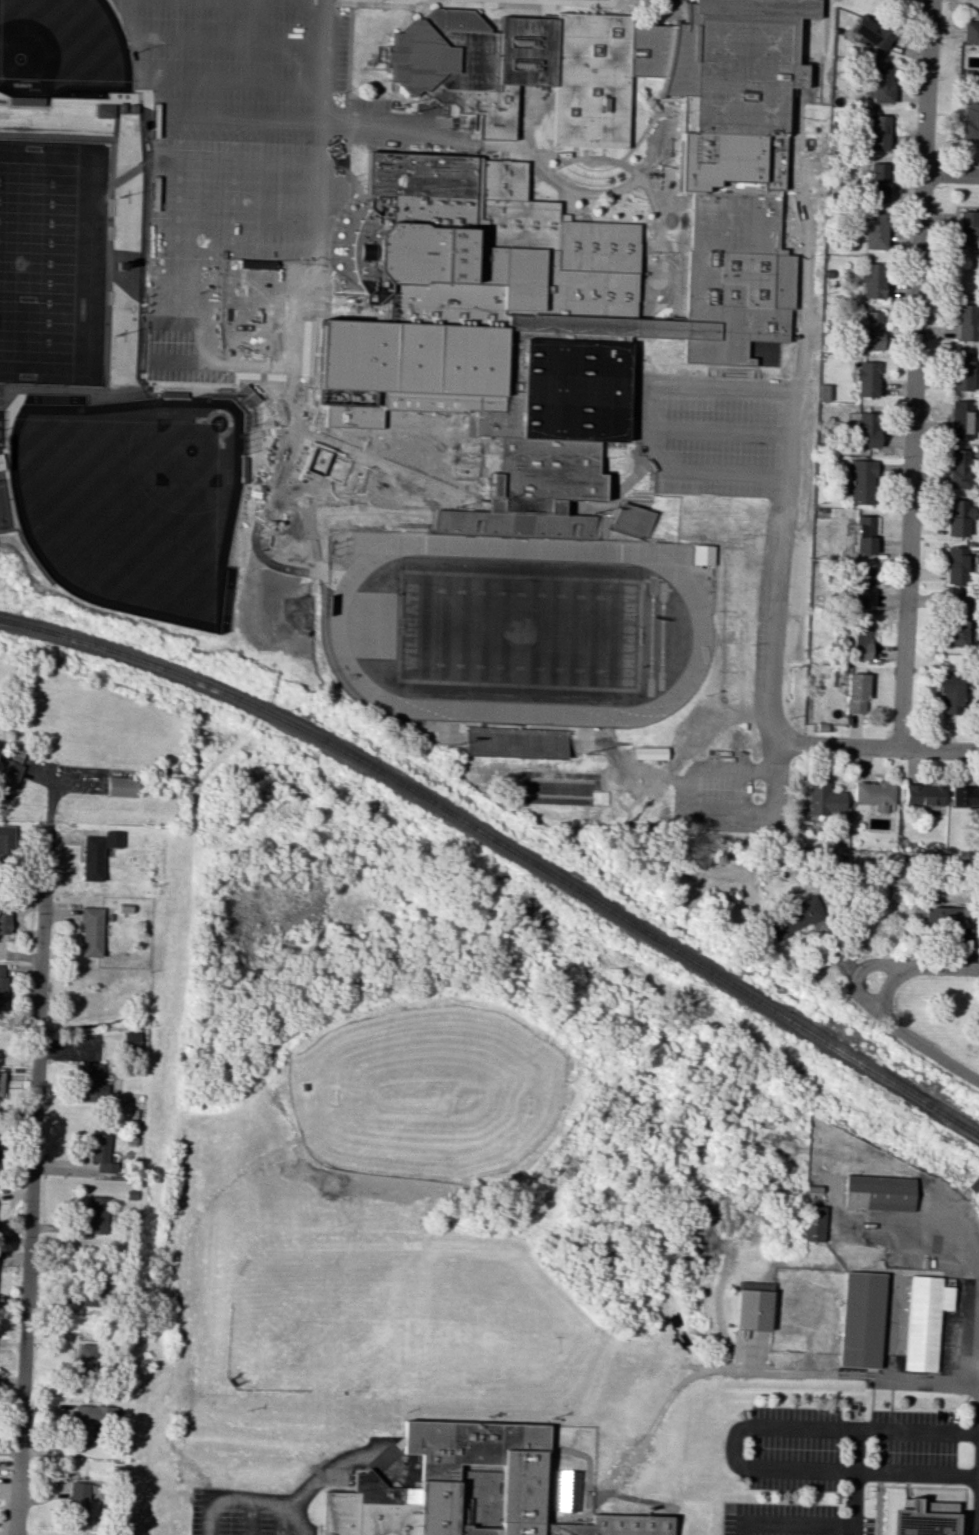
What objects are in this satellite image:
road: (254, 19)
building: (870, 32)
building: (970, 32)
park: (62, 49)
building: (612, 66)
road: (139, 74)
building: (879, 81)
road: (289, 85)
building: (26, 100)
building: (121, 107)
building: (132, 108)
building: (103, 109)
road: (530, 116)
road: (243, 119)
building: (970, 119)
building: (877, 132)
parking lot: (221, 142)
road: (521, 146)
road: (586, 157)
road: (624, 157)
road: (241, 160)
road: (611, 161)
road: (950, 173)
building: (879, 184)
road: (576, 193)
road: (568, 200)
road: (240, 201)
building: (968, 224)
building: (874, 230)
park: (36, 259)
road: (201, 275)
building: (872, 280)
building: (530, 315)
building: (967, 321)
building: (873, 330)
building: (961, 371)
road: (913, 373)
road: (709, 377)
building: (866, 379)
building: (823, 392)
building: (172, 393)
road: (638, 401)
building: (959, 419)
building: (866, 429)
building: (404, 454)
parking lot: (718, 458)
building: (0, 468)
building: (957, 468)
building: (244, 469)
building: (861, 481)
road: (450, 498)
park: (130, 500)
building: (956, 517)
building: (632, 519)
building: (863, 534)
building: (702, 554)
road: (273, 564)
building: (953, 565)
building: (860, 589)
building: (952, 619)
road: (774, 622)
track: (699, 629)
park: (518, 631)
park: (649, 635)
park: (660, 635)
building: (858, 640)
road: (345, 687)
building: (950, 692)
building: (855, 693)
road: (585, 733)
road: (781, 739)
road: (885, 746)
building: (650, 752)
road: (723, 770)
building: (9, 772)
parking lot: (724, 775)
building: (121, 786)
park: (554, 787)
building: (874, 794)
building: (922, 794)
building: (964, 796)
building: (823, 798)
road: (50, 805)
building: (7, 844)
railway: (504, 848)
building: (97, 853)
building: (794, 917)
building: (944, 917)
building: (4, 918)
building: (90, 931)
road: (948, 966)
road: (863, 969)
building: (3, 989)
road: (901, 1030)
building: (130, 1039)
building: (90, 1081)
building: (1, 1083)
park: (430, 1100)
building: (100, 1152)
road: (30, 1183)
building: (813, 1192)
building: (879, 1194)
building: (96, 1217)
building: (814, 1225)
road: (957, 1236)
building: (93, 1289)
road: (177, 1295)
building: (754, 1310)
park: (367, 1319)
building: (861, 1320)
building: (925, 1321)
road: (604, 1327)
building: (86, 1356)
road: (860, 1377)
road: (640, 1383)
building: (91, 1421)
road: (658, 1428)
road: (287, 1429)
road: (784, 1429)
parking lot: (914, 1439)
parking lot: (796, 1449)
road: (854, 1451)
road: (569, 1452)
road: (557, 1454)
road: (885, 1473)
building: (471, 1489)
building: (566, 1490)
road: (588, 1490)
road: (305, 1494)
road: (630, 1498)
building: (78, 1503)
road: (977, 1506)
road: (209, 1519)
road: (296, 1519)
parking lot: (779, 1519)
building: (926, 1519)
road: (251, 1520)
road: (279, 1520)
road: (792, 1524)
parking lot: (235, 1525)

